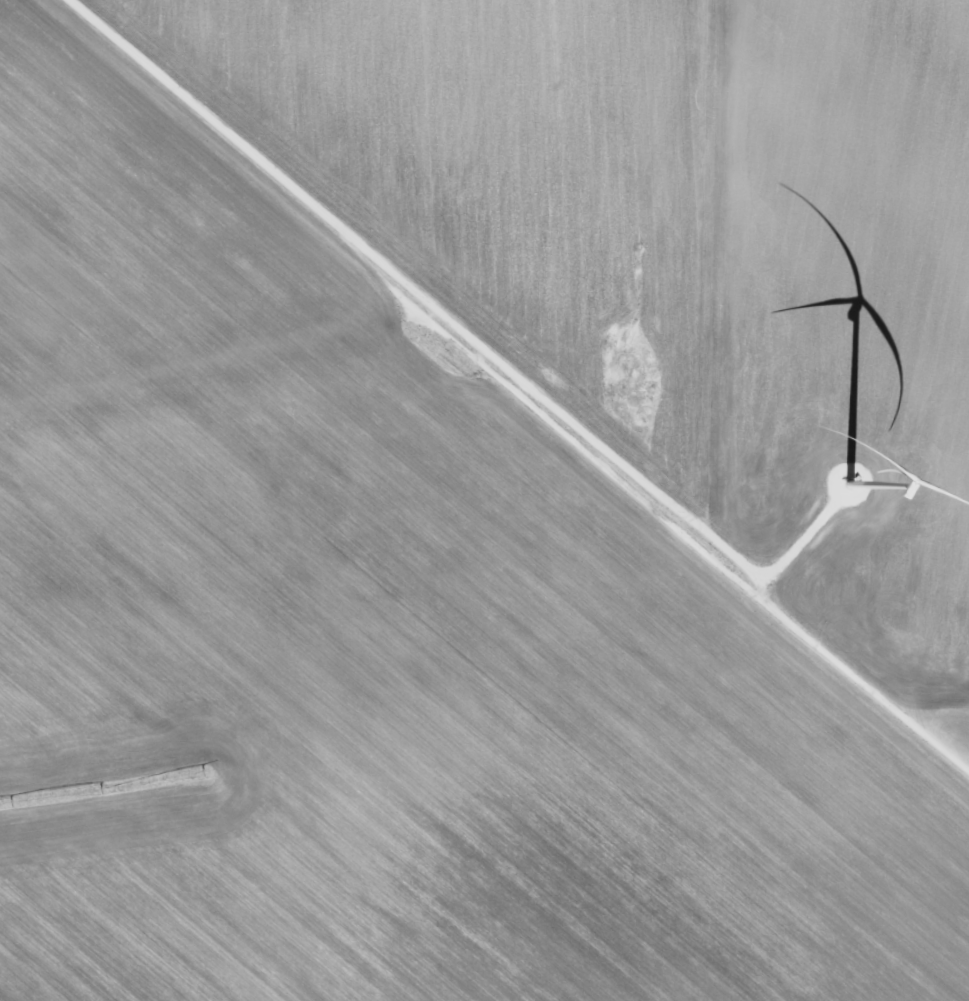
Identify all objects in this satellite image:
wind turbine: (858, 482)

